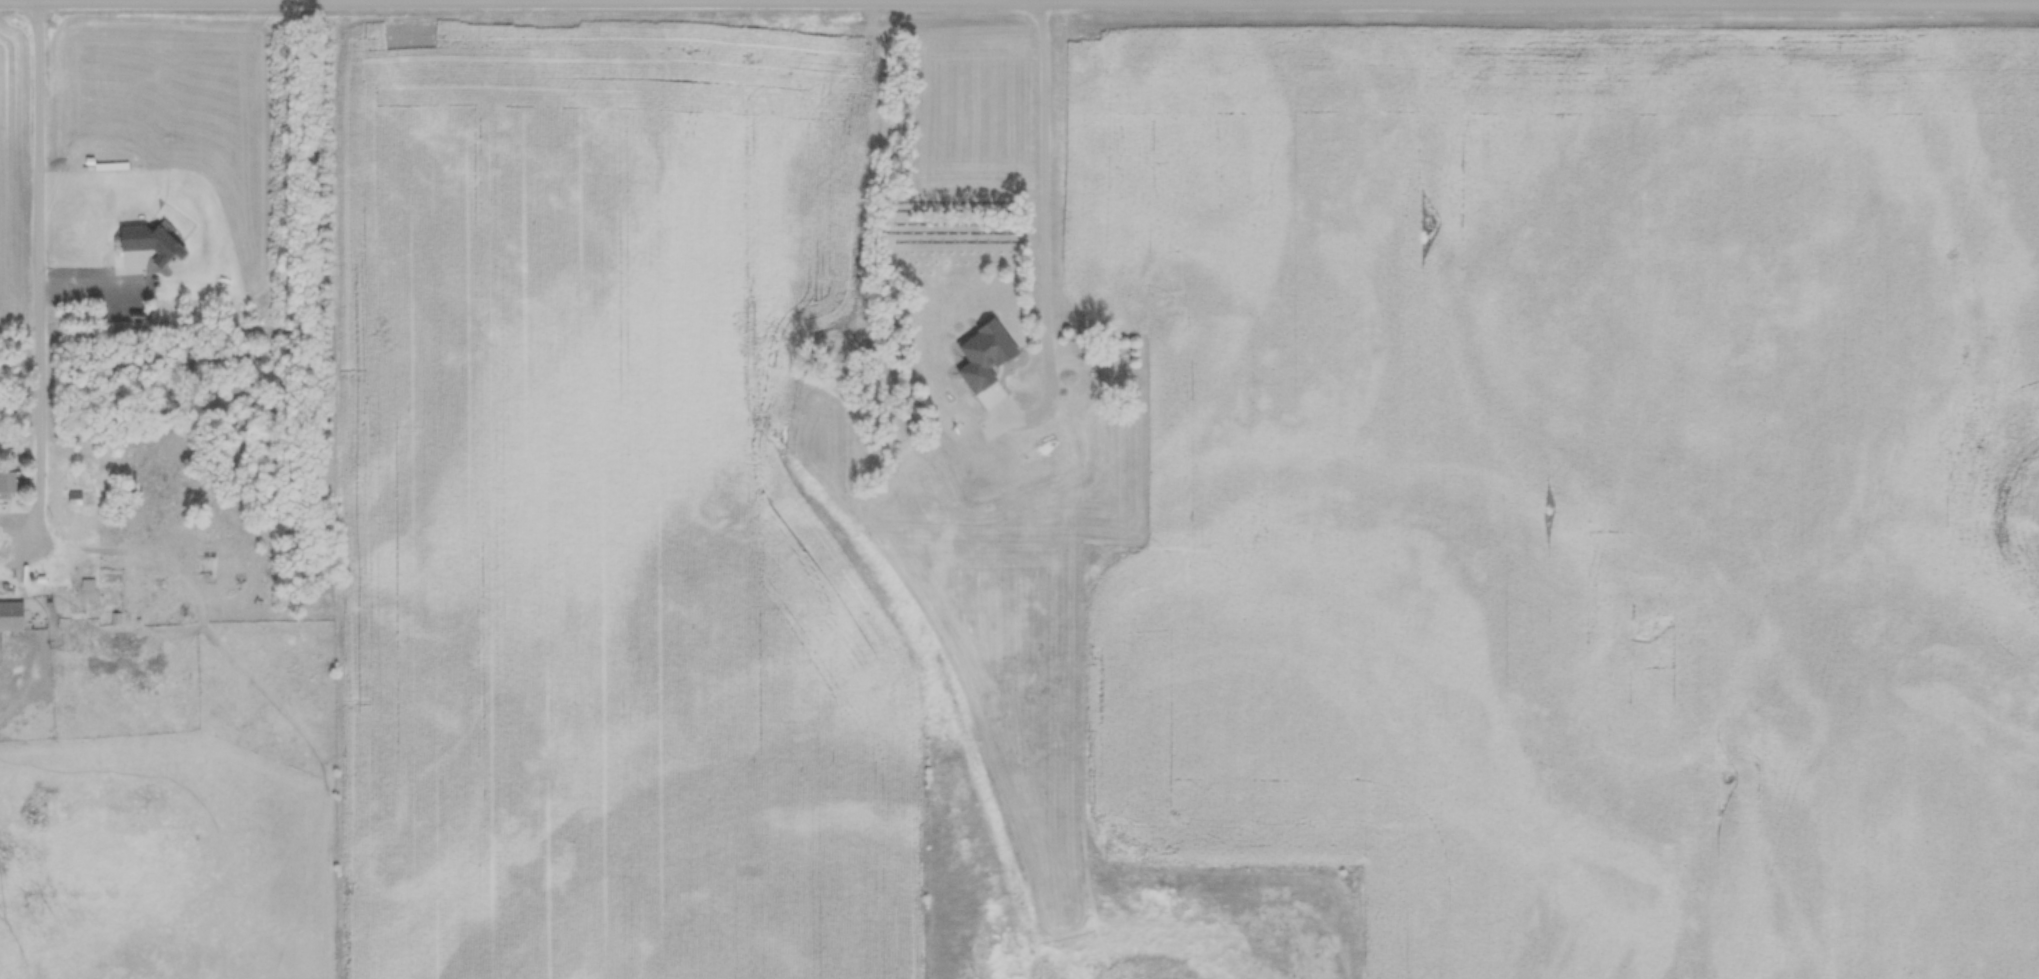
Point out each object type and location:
road: (1539, 1)
road: (1046, 231)
road: (42, 272)
building: (997, 337)
building: (1114, 375)
building: (1093, 455)
building: (9, 483)
building: (81, 498)
building: (208, 566)
building: (112, 580)
building: (76, 601)
building: (12, 617)

